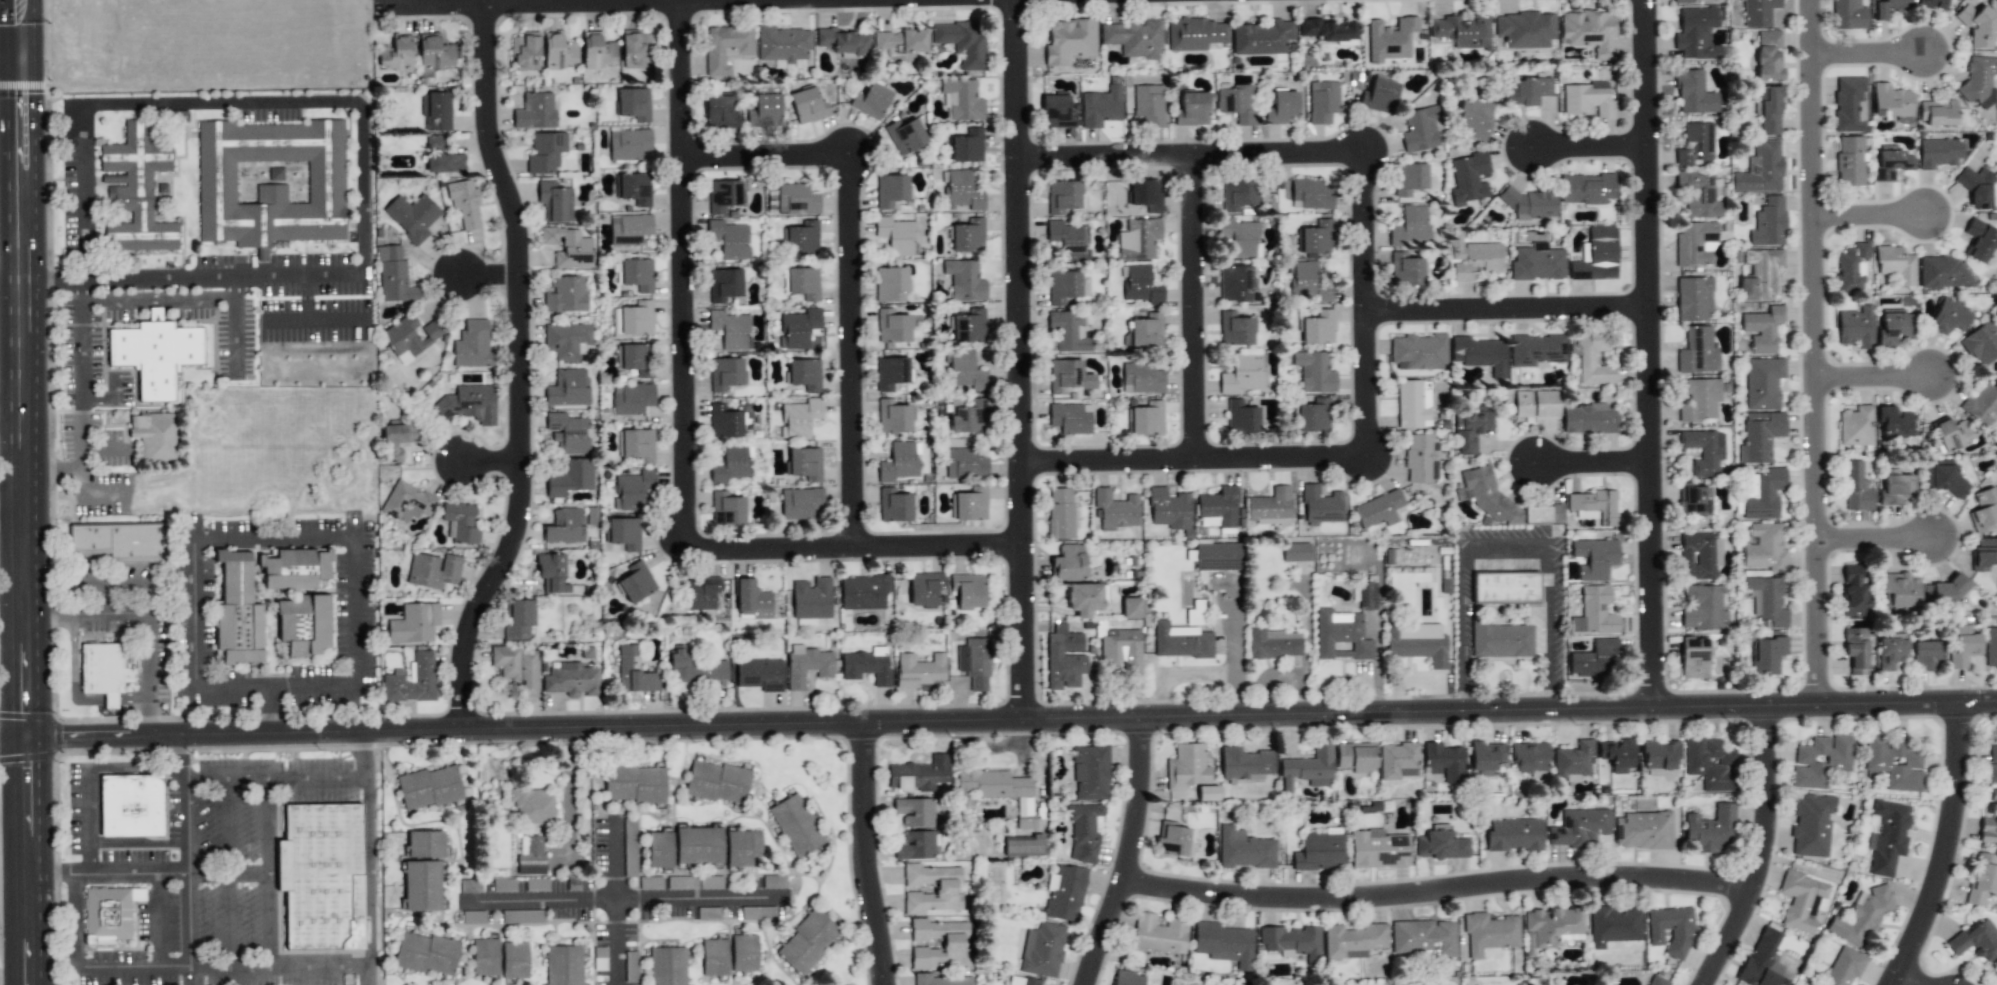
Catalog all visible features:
road: (530, 0)
building: (1682, 1)
building: (1933, 4)
building: (1888, 8)
building: (1758, 12)
building: (1848, 15)
building: (1980, 26)
building: (1328, 29)
building: (1525, 29)
building: (1462, 31)
building: (1588, 32)
building: (1696, 33)
building: (1195, 34)
building: (1261, 37)
building: (1134, 38)
building: (1389, 39)
building: (1069, 40)
building: (844, 41)
building: (962, 41)
building: (782, 44)
building: (898, 44)
building: (725, 47)
building: (634, 48)
building: (558, 51)
building: (597, 51)
building: (435, 53)
building: (525, 53)
road: (1867, 53)
building: (396, 54)
building: (1768, 55)
road: (9, 60)
building: (1979, 79)
building: (1525, 90)
building: (1693, 93)
building: (1380, 96)
building: (962, 99)
building: (1587, 99)
building: (870, 101)
road: (262, 102)
building: (1236, 102)
building: (1322, 102)
building: (633, 103)
building: (1892, 103)
building: (1848, 104)
building: (807, 105)
building: (1148, 105)
building: (1100, 107)
building: (1282, 107)
building: (1192, 109)
building: (1769, 110)
building: (436, 111)
building: (534, 111)
building: (764, 111)
building: (720, 112)
building: (1056, 112)
building: (1937, 112)
building: (1474, 119)
building: (1420, 129)
building: (905, 136)
building: (628, 143)
road: (1586, 144)
building: (1695, 144)
building: (967, 146)
road: (1188, 151)
building: (545, 152)
building: (1938, 152)
road: (768, 154)
building: (441, 158)
building: (1849, 160)
building: (1890, 162)
building: (1760, 168)
building: (1409, 178)
building: (1468, 178)
building: (270, 182)
building: (633, 188)
building: (1977, 188)
building: (1586, 189)
building: (137, 190)
building: (891, 190)
building: (961, 191)
building: (1237, 194)
building: (1310, 194)
building: (1697, 194)
building: (722, 195)
building: (1146, 195)
building: (1062, 196)
building: (796, 199)
building: (555, 201)
building: (464, 203)
building: (1531, 204)
road: (1868, 214)
building: (412, 216)
building: (1768, 223)
building: (1410, 226)
building: (629, 229)
building: (896, 235)
building: (967, 236)
building: (1238, 236)
building: (1314, 237)
building: (728, 238)
building: (802, 238)
building: (1067, 239)
building: (1138, 239)
building: (1979, 240)
building: (1694, 243)
building: (567, 247)
building: (261, 254)
building: (1596, 256)
building: (1536, 262)
building: (1895, 264)
building: (1851, 268)
building: (1405, 269)
building: (1942, 272)
road: (686, 273)
building: (637, 274)
road: (492, 275)
building: (1760, 275)
road: (193, 276)
building: (394, 276)
building: (964, 280)
building: (1307, 281)
building: (801, 283)
building: (1235, 283)
building: (724, 284)
building: (891, 284)
building: (1139, 285)
building: (1062, 287)
building: (565, 295)
road: (155, 298)
road: (307, 298)
building: (1693, 299)
road: (1356, 301)
road: (1188, 304)
road: (1499, 309)
building: (1949, 316)
building: (636, 318)
road: (319, 322)
building: (615, 323)
building: (892, 326)
building: (968, 326)
road: (233, 327)
building: (1317, 327)
building: (1856, 327)
building: (1893, 327)
building: (797, 328)
building: (729, 329)
building: (1235, 329)
building: (1762, 329)
building: (1068, 331)
building: (1143, 331)
building: (409, 337)
building: (566, 340)
road: (78, 341)
building: (1981, 343)
building: (472, 345)
road: (854, 350)
building: (1536, 350)
building: (1697, 351)
building: (1418, 352)
road: (1813, 352)
building: (155, 354)
building: (1479, 354)
road: (1644, 354)
building: (634, 358)
road: (1021, 358)
building: (1592, 359)
road: (24, 368)
road: (523, 368)
building: (964, 370)
building: (890, 372)
building: (1314, 372)
building: (725, 373)
building: (1242, 373)
building: (804, 374)
building: (1068, 376)
road: (1874, 376)
building: (1141, 378)
building: (1762, 382)
building: (567, 388)
road: (114, 389)
building: (632, 398)
building: (1700, 399)
road: (97, 403)
building: (468, 404)
building: (1412, 404)
building: (1535, 404)
building: (1981, 405)
road: (12, 412)
building: (1313, 415)
building: (893, 417)
building: (969, 417)
building: (1241, 417)
building: (799, 418)
building: (1070, 418)
building: (1147, 418)
building: (1588, 419)
building: (723, 421)
building: (1893, 423)
building: (1855, 426)
building: (1470, 431)
building: (568, 433)
building: (1952, 434)
building: (154, 436)
building: (1759, 436)
building: (397, 440)
building: (637, 445)
building: (1703, 451)
road: (1188, 456)
road: (494, 459)
building: (1420, 459)
building: (899, 462)
building: (805, 463)
road: (1588, 463)
building: (965, 464)
building: (732, 465)
road: (53, 470)
road: (81, 473)
building: (1941, 476)
building: (570, 477)
building: (1854, 487)
building: (1895, 487)
building: (633, 489)
building: (1762, 493)
building: (1488, 495)
building: (1693, 499)
building: (407, 502)
building: (800, 503)
building: (970, 504)
building: (1595, 505)
building: (894, 506)
building: (1320, 506)
building: (1270, 507)
building: (1217, 508)
building: (726, 509)
building: (1169, 509)
building: (1984, 509)
building: (1114, 510)
building: (1378, 510)
road: (13, 513)
building: (1060, 513)
building: (1542, 514)
building: (460, 522)
building: (565, 527)
building: (624, 533)
road: (346, 537)
road: (1873, 538)
building: (120, 541)
road: (856, 548)
road: (1505, 548)
building: (1764, 548)
building: (1295, 552)
building: (1983, 555)
building: (1217, 556)
building: (1699, 556)
building: (1594, 558)
building: (1068, 563)
building: (294, 568)
building: (433, 570)
building: (554, 574)
building: (636, 582)
building: (924, 588)
building: (1505, 588)
building: (968, 591)
building: (1853, 591)
building: (1898, 591)
building: (701, 592)
building: (863, 592)
building: (1946, 593)
building: (1367, 596)
building: (811, 598)
building: (1083, 598)
building: (1766, 600)
building: (752, 601)
building: (1130, 607)
building: (1701, 607)
building: (237, 611)
building: (1594, 612)
building: (1197, 613)
road: (196, 616)
building: (518, 619)
road: (143, 620)
building: (414, 623)
building: (303, 624)
building: (1340, 635)
building: (1500, 640)
building: (1180, 641)
building: (1418, 642)
building: (1273, 643)
building: (1963, 647)
building: (1990, 648)
building: (1121, 650)
building: (1855, 650)
building: (1890, 653)
building: (1767, 654)
building: (1925, 654)
building: (1693, 657)
building: (1063, 658)
building: (1595, 659)
building: (974, 663)
building: (807, 665)
building: (866, 665)
building: (517, 668)
building: (694, 668)
building: (106, 670)
building: (919, 671)
building: (634, 672)
building: (759, 674)
building: (392, 678)
building: (571, 679)
road: (275, 686)
road: (269, 710)
road: (1012, 718)
road: (14, 738)
building: (1616, 754)
building: (1659, 754)
building: (1486, 755)
building: (1356, 757)
building: (1529, 757)
building: (1397, 761)
building: (1572, 761)
building: (1443, 762)
building: (1821, 762)
building: (1894, 762)
building: (1710, 763)
building: (1245, 764)
building: (1992, 764)
road: (136, 767)
building: (1186, 767)
building: (1308, 768)
building: (1090, 772)
building: (918, 774)
road: (567, 776)
road: (274, 777)
building: (717, 782)
building: (634, 783)
building: (990, 785)
building: (428, 787)
building: (1207, 793)
building: (130, 805)
building: (532, 805)
building: (1024, 806)
building: (915, 811)
road: (227, 814)
road: (89, 820)
building: (1989, 821)
building: (796, 825)
building: (1811, 825)
building: (1579, 828)
building: (1642, 830)
building: (1710, 830)
building: (1083, 831)
building: (1514, 835)
building: (1887, 837)
building: (1173, 839)
building: (425, 844)
building: (1440, 844)
building: (698, 845)
building: (741, 846)
building: (915, 846)
building: (1023, 846)
building: (629, 847)
building: (658, 849)
building: (1244, 849)
building: (1378, 849)
road: (1950, 849)
road: (1767, 850)
building: (1319, 852)
road: (872, 853)
road: (1135, 853)
building: (531, 856)
road: (368, 857)
road: (186, 860)
road: (30, 861)
road: (150, 873)
road: (269, 873)
building: (321, 876)
building: (1982, 879)
building: (774, 881)
building: (650, 882)
building: (682, 882)
building: (537, 884)
building: (422, 885)
building: (506, 885)
building: (945, 889)
building: (1064, 893)
road: (1442, 898)
road: (620, 899)
building: (1801, 900)
road: (614, 903)
road: (228, 910)
building: (765, 913)
building: (110, 915)
building: (1861, 915)
building: (518, 916)
road: (164, 920)
building: (1551, 925)
building: (1613, 925)
building: (1670, 929)
building: (1489, 932)
building: (1160, 934)
building: (1423, 937)
building: (1353, 940)
building: (1976, 940)
building: (806, 942)
building: (1292, 942)
building: (954, 943)
building: (1224, 944)
building: (1042, 950)
building: (426, 953)
building: (744, 953)
building: (484, 957)
building: (714, 957)
building: (1762, 960)
building: (514, 961)
building: (563, 965)
building: (667, 966)
building: (1843, 967)
road: (87, 968)
road: (280, 969)
building: (1127, 978)
road: (1913, 979)
building: (940, 980)
building: (1022, 981)
building: (1657, 981)
building: (1810, 984)

